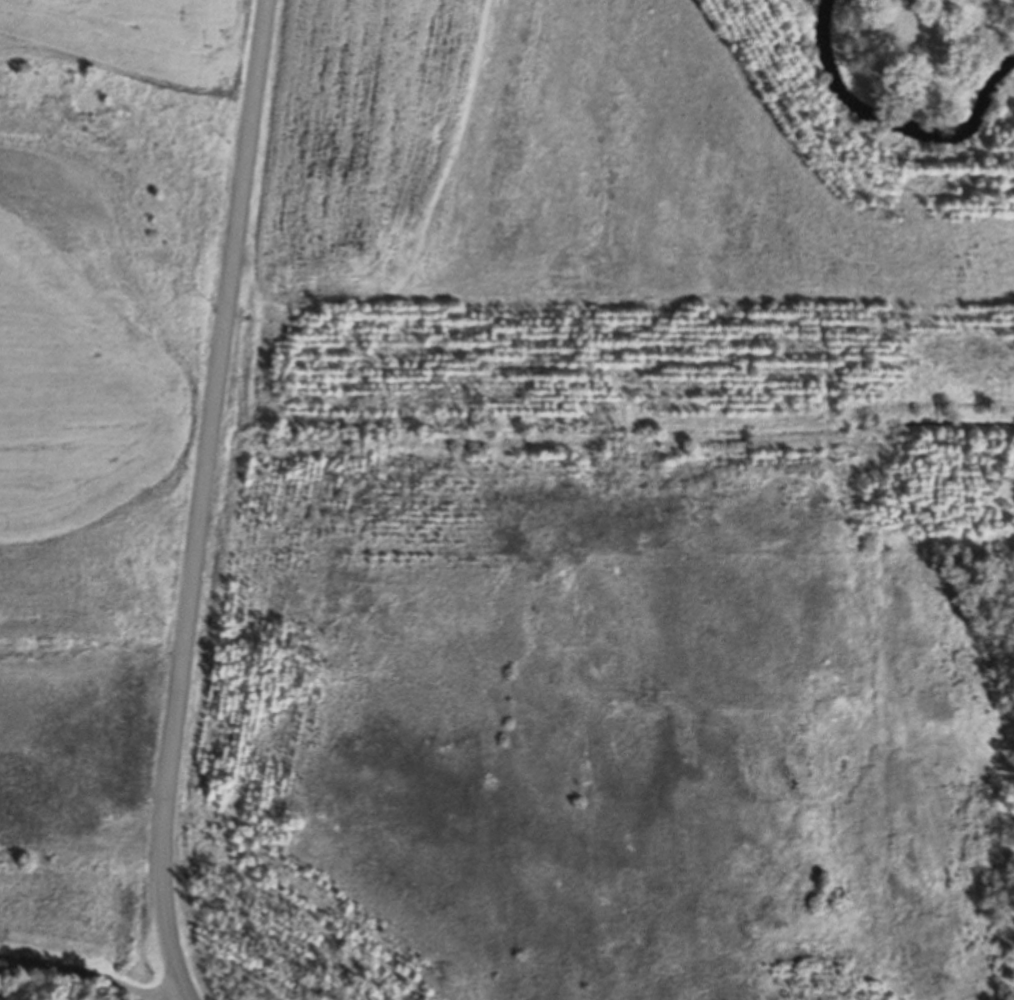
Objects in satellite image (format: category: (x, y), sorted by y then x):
river: (907, 87)
road: (199, 501)
road: (78, 971)

